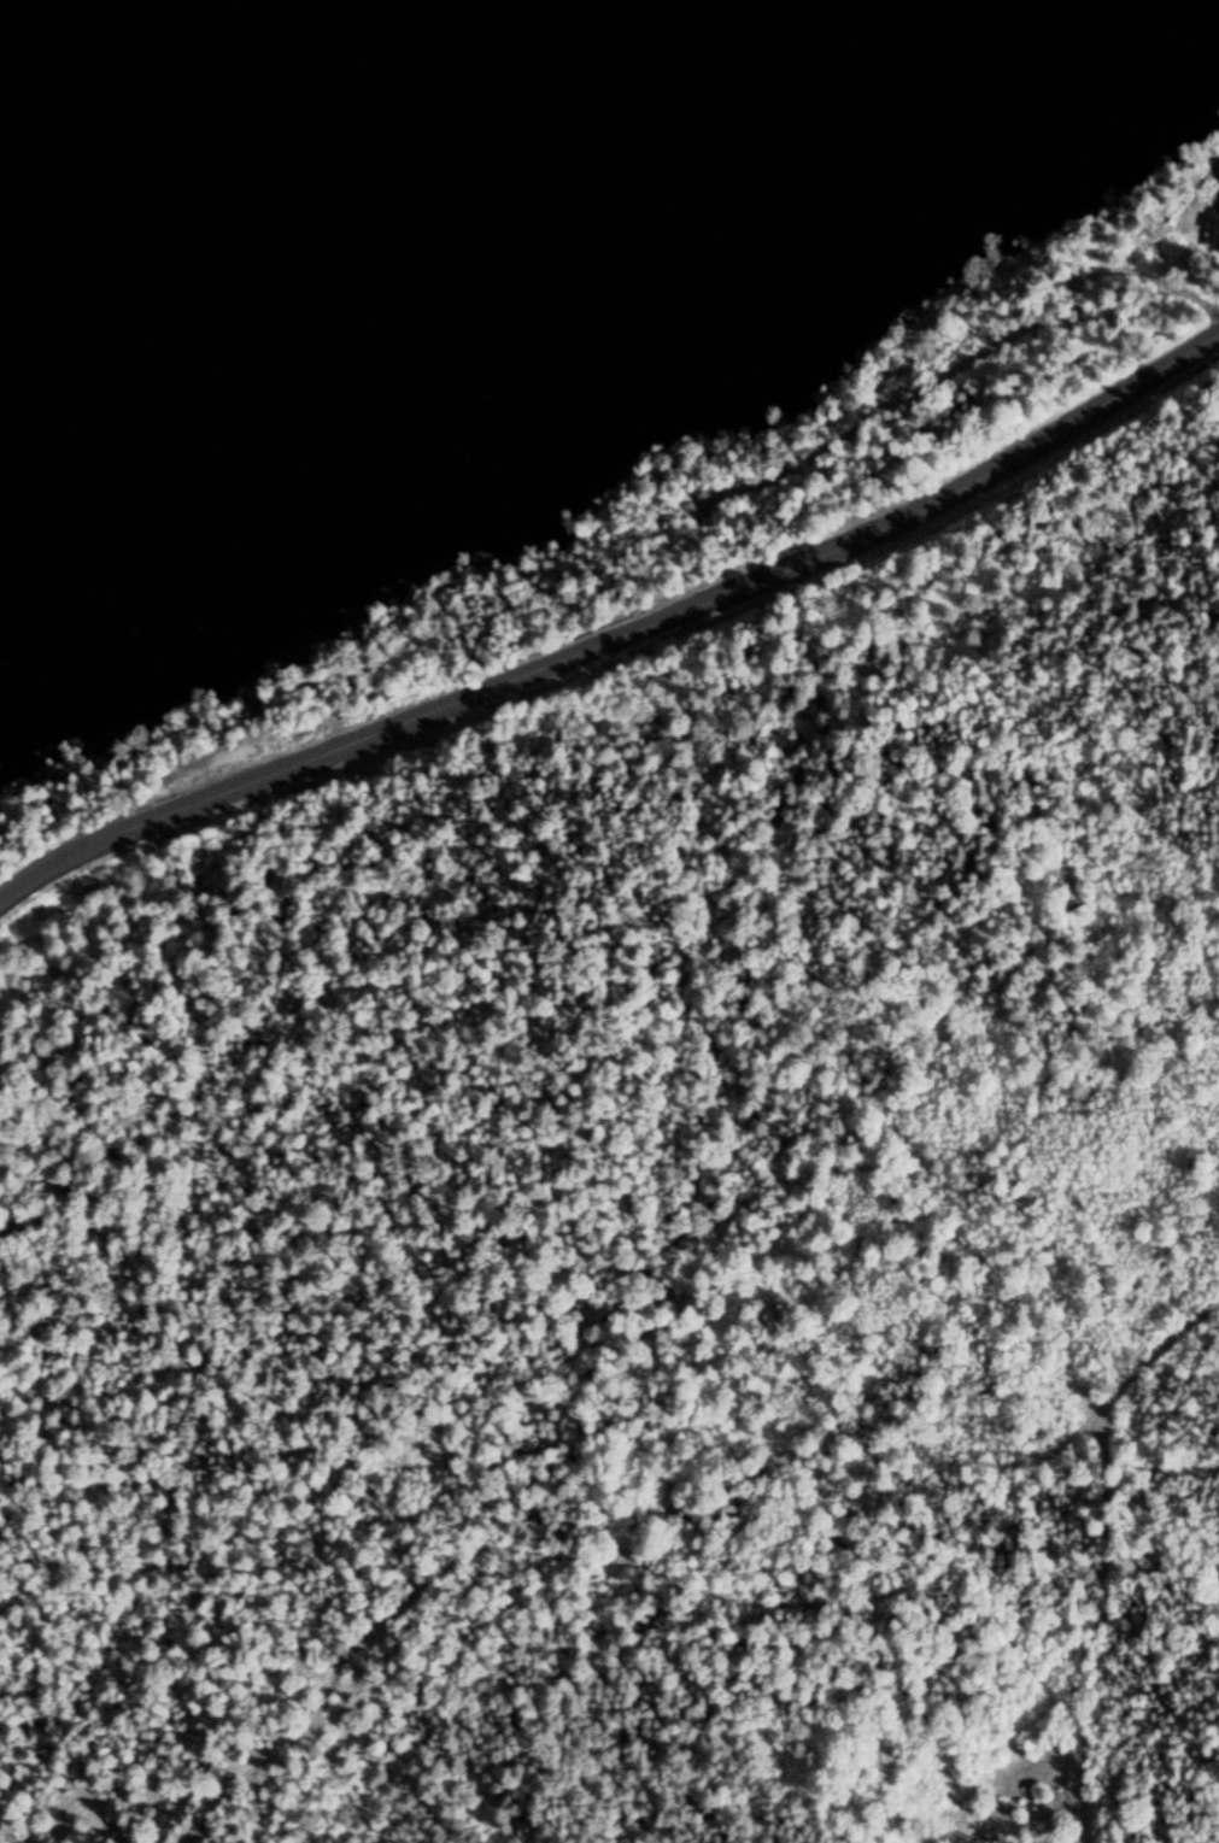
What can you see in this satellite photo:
building: (1217, 240)
road: (616, 635)

